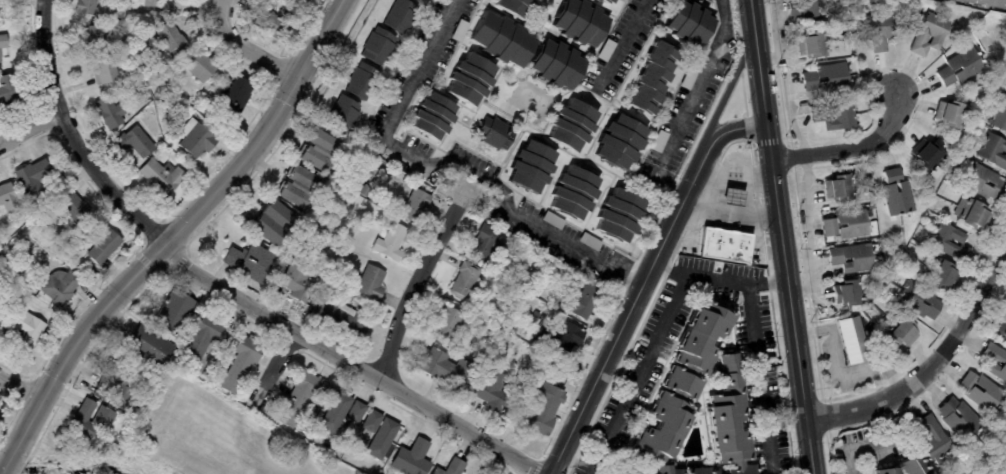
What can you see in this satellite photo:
building: (535, 0)
building: (605, 1)
building: (149, 3)
building: (988, 3)
building: (86, 6)
building: (514, 7)
building: (812, 10)
building: (398, 15)
building: (579, 22)
building: (275, 23)
building: (687, 23)
building: (458, 30)
building: (877, 30)
building: (1005, 32)
building: (931, 34)
building: (1001, 36)
building: (92, 37)
building: (171, 39)
building: (501, 39)
building: (2, 41)
road: (622, 42)
building: (812, 45)
road: (244, 46)
building: (376, 46)
building: (605, 50)
road: (769, 58)
building: (556, 64)
building: (0, 65)
building: (200, 66)
building: (962, 67)
building: (104, 70)
building: (686, 78)
building: (828, 78)
building: (468, 79)
building: (651, 79)
building: (360, 81)
road: (784, 83)
building: (5, 89)
building: (205, 90)
road: (725, 92)
building: (235, 93)
road: (688, 104)
building: (110, 113)
building: (340, 113)
building: (952, 114)
building: (834, 115)
building: (1000, 115)
building: (432, 116)
building: (571, 125)
road: (30, 129)
building: (493, 133)
road: (70, 136)
building: (196, 139)
building: (135, 141)
building: (658, 141)
building: (619, 142)
road: (849, 149)
building: (318, 150)
building: (993, 150)
building: (928, 156)
road: (451, 158)
building: (530, 167)
building: (162, 177)
building: (31, 178)
building: (983, 181)
building: (298, 187)
building: (839, 188)
building: (364, 191)
building: (572, 193)
building: (897, 193)
building: (731, 197)
gas station: (731, 197)
building: (8, 198)
building: (72, 204)
building: (415, 205)
building: (28, 206)
road: (730, 210)
building: (973, 213)
building: (618, 216)
building: (552, 220)
building: (274, 223)
building: (848, 225)
road: (805, 231)
road: (172, 235)
road: (781, 236)
building: (588, 240)
building: (484, 241)
building: (951, 242)
building: (102, 243)
building: (391, 243)
building: (722, 244)
building: (3, 250)
building: (73, 251)
building: (1, 256)
building: (853, 258)
building: (250, 261)
road: (669, 266)
building: (941, 274)
road: (717, 278)
building: (299, 279)
road: (642, 280)
road: (416, 281)
building: (466, 281)
road: (767, 281)
building: (371, 283)
building: (60, 286)
building: (848, 293)
building: (865, 296)
building: (917, 300)
building: (581, 301)
building: (1, 312)
building: (487, 314)
building: (173, 315)
building: (0, 316)
building: (344, 319)
building: (448, 321)
building: (498, 331)
building: (514, 331)
building: (899, 331)
building: (1003, 331)
building: (24, 332)
road: (832, 332)
building: (206, 336)
building: (559, 338)
building: (851, 340)
building: (149, 346)
road: (879, 362)
building: (1002, 362)
road: (350, 363)
building: (241, 364)
road: (933, 364)
road: (273, 367)
building: (448, 370)
road: (640, 373)
road: (759, 379)
building: (104, 387)
building: (682, 387)
road: (19, 389)
building: (492, 390)
building: (982, 393)
building: (301, 398)
building: (544, 409)
building: (342, 413)
building: (0, 416)
building: (103, 418)
building: (728, 418)
building: (958, 419)
building: (378, 434)
building: (1004, 434)
building: (936, 438)
road: (885, 441)
building: (412, 459)
building: (331, 465)
building: (905, 466)
building: (453, 468)
building: (699, 470)
road: (1, 471)
building: (613, 471)
building: (623, 472)
building: (311, 473)

